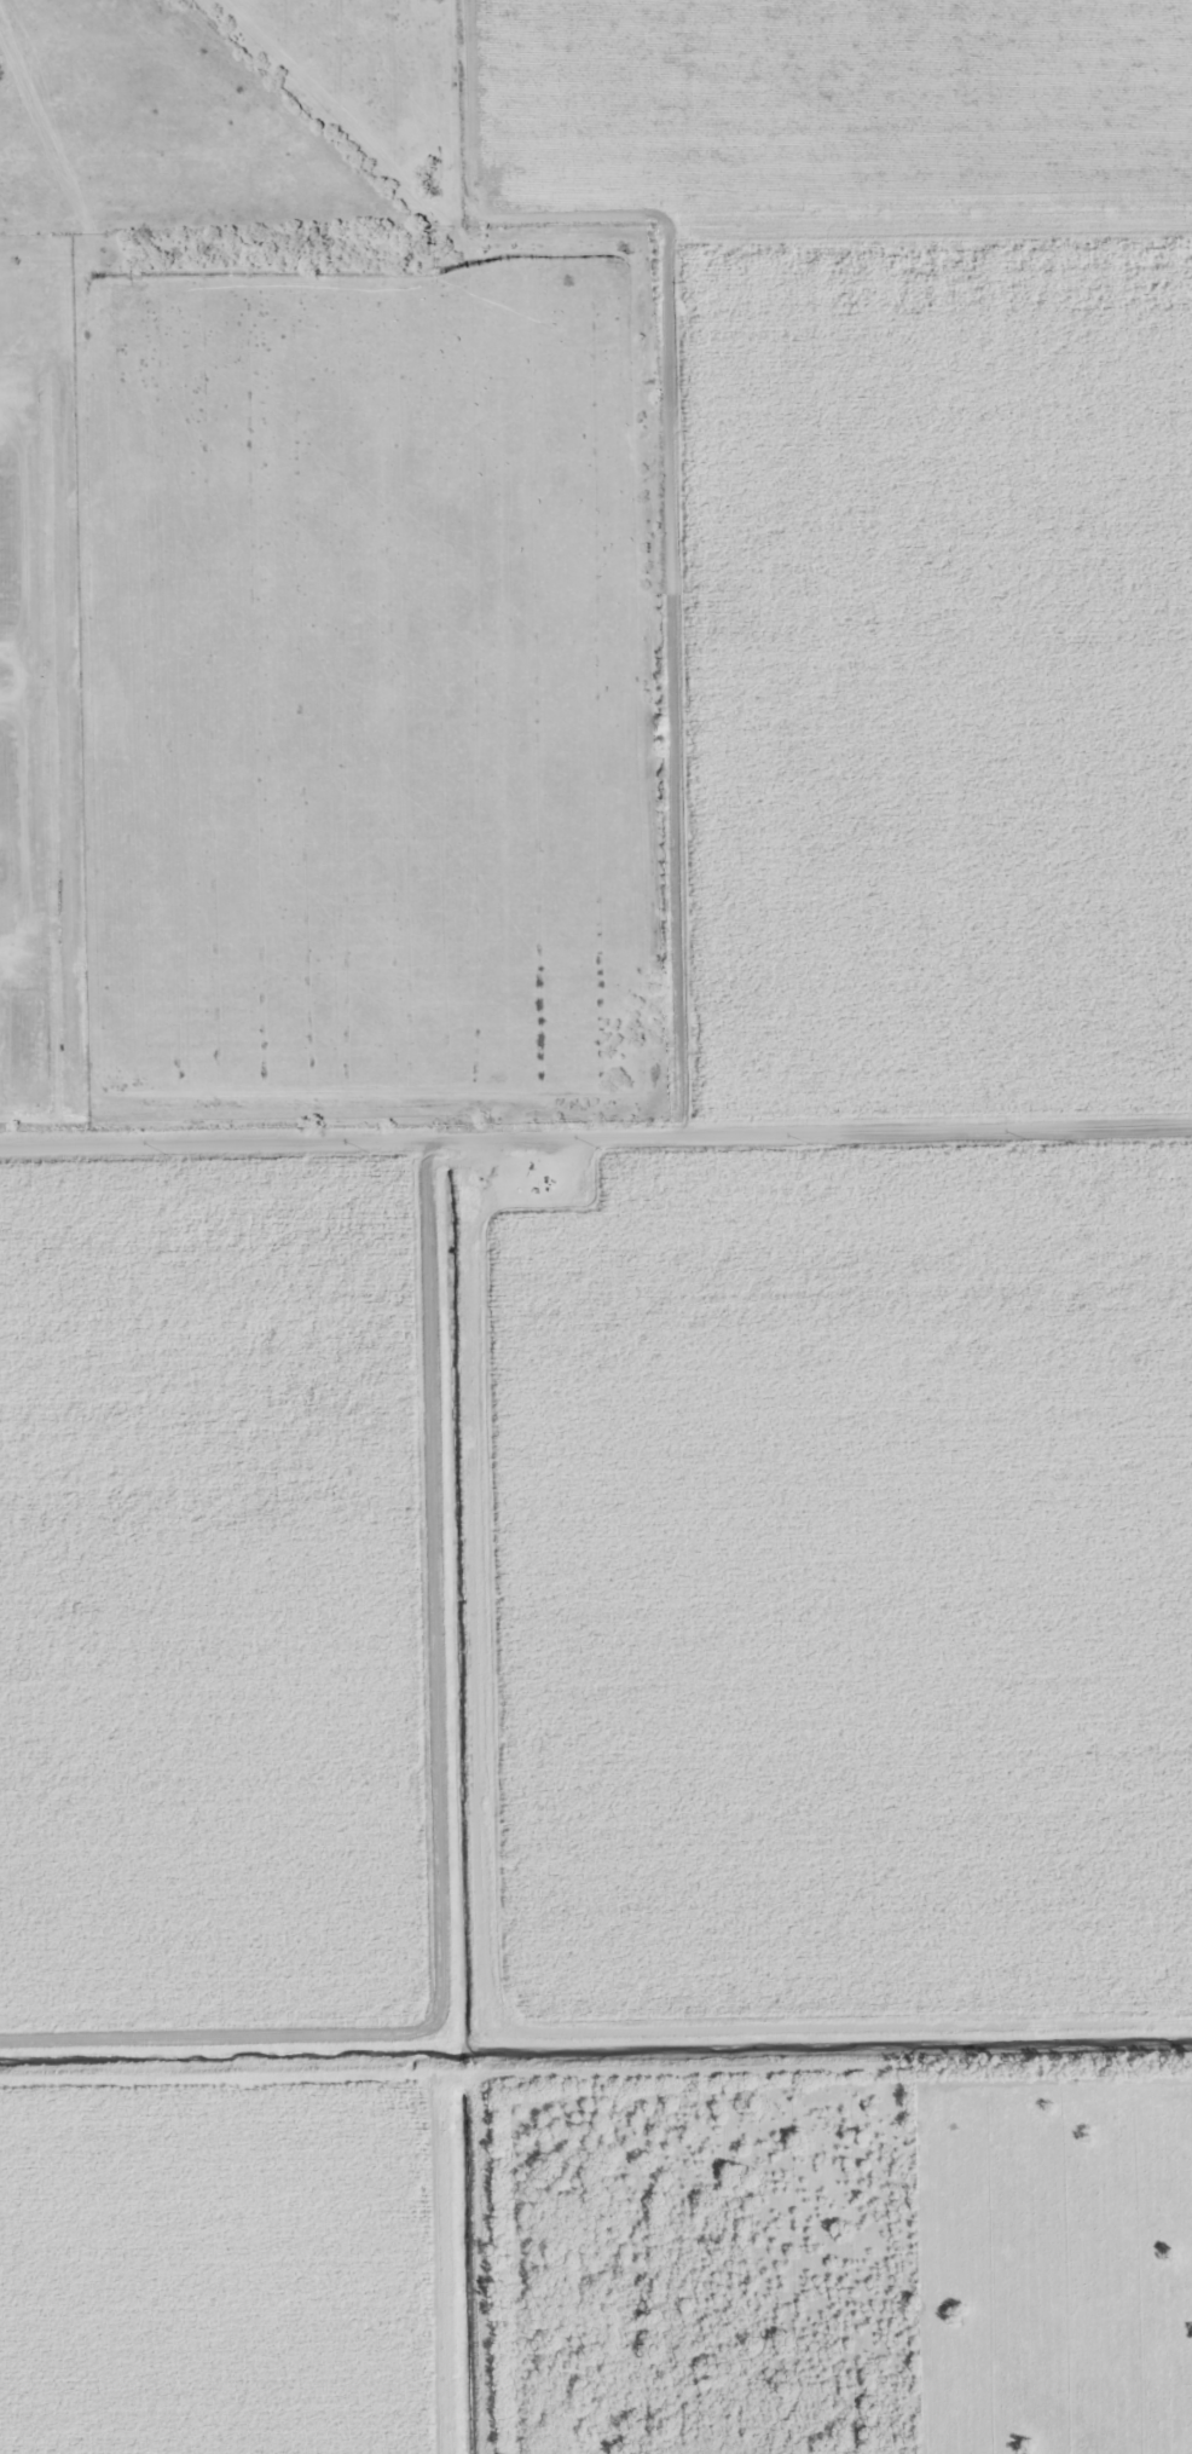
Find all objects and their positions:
road: (2, 389)
road: (2, 953)
road: (596, 1141)

